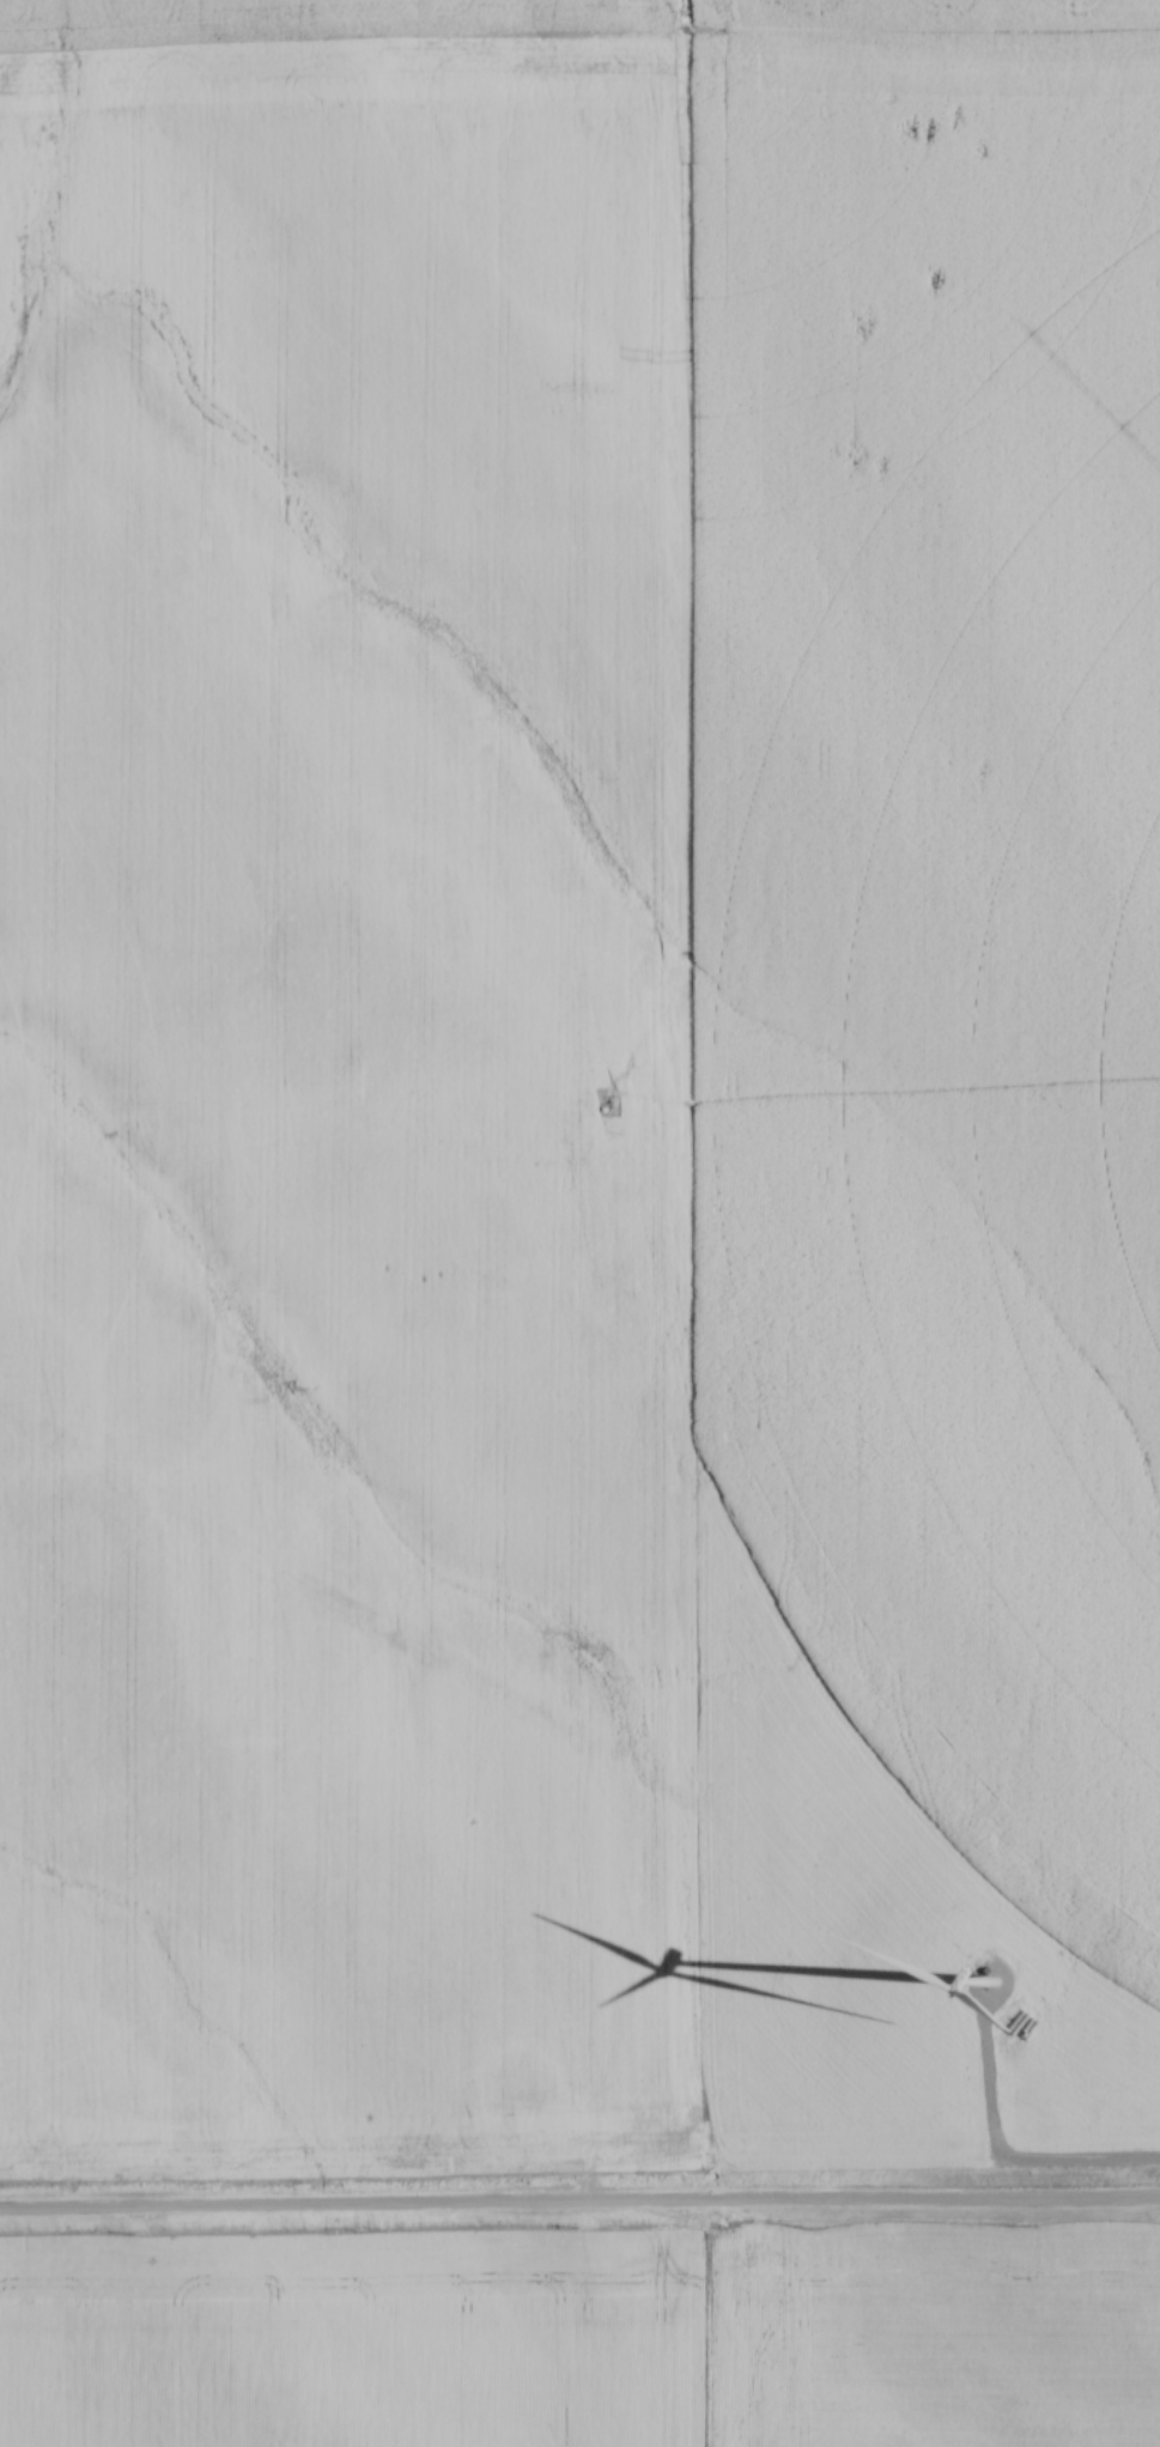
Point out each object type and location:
wind turbine: (996, 1979)
road: (579, 2208)

